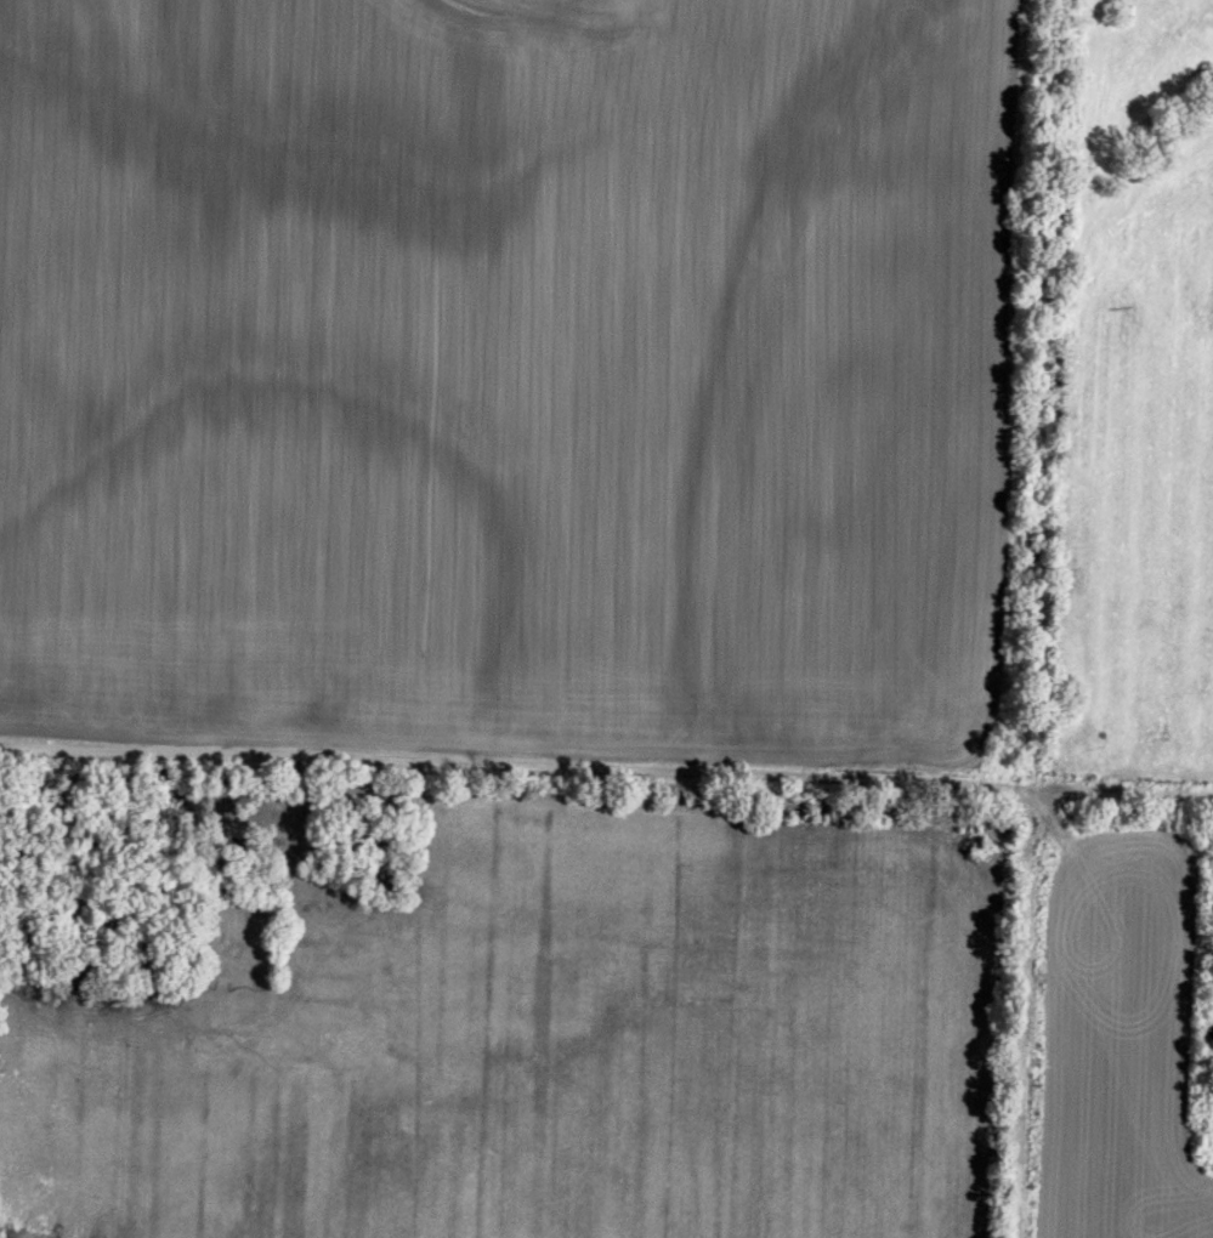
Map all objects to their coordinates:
road: (540, 771)
road: (1031, 1015)

